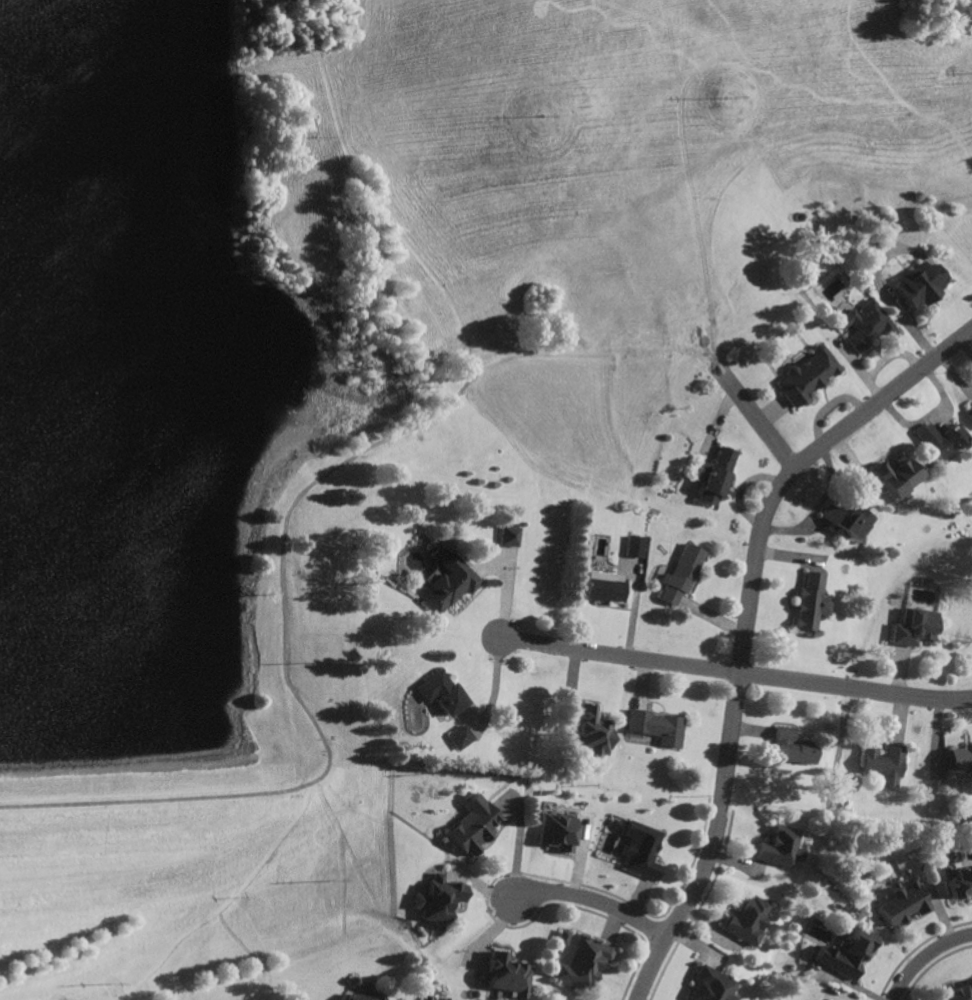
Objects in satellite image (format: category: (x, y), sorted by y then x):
building: (922, 284)
building: (864, 324)
building: (806, 375)
park: (203, 388)
road: (937, 416)
road: (753, 418)
building: (943, 439)
building: (723, 458)
building: (896, 475)
building: (711, 486)
road: (309, 491)
building: (845, 519)
building: (507, 536)
building: (635, 546)
building: (681, 574)
building: (445, 583)
building: (601, 588)
building: (812, 602)
road: (745, 626)
building: (918, 628)
road: (736, 674)
building: (437, 693)
building: (655, 727)
building: (591, 733)
building: (456, 738)
building: (793, 748)
building: (962, 759)
building: (886, 764)
dam: (146, 783)
building: (471, 824)
building: (556, 830)
building: (581, 830)
building: (782, 845)
building: (639, 849)
building: (960, 880)
building: (436, 896)
building: (905, 902)
road: (590, 906)
building: (747, 919)
building: (561, 936)
building: (847, 952)
building: (581, 961)
road: (929, 964)
building: (506, 973)
building: (710, 985)
building: (958, 992)
building: (364, 996)
building: (441, 999)

